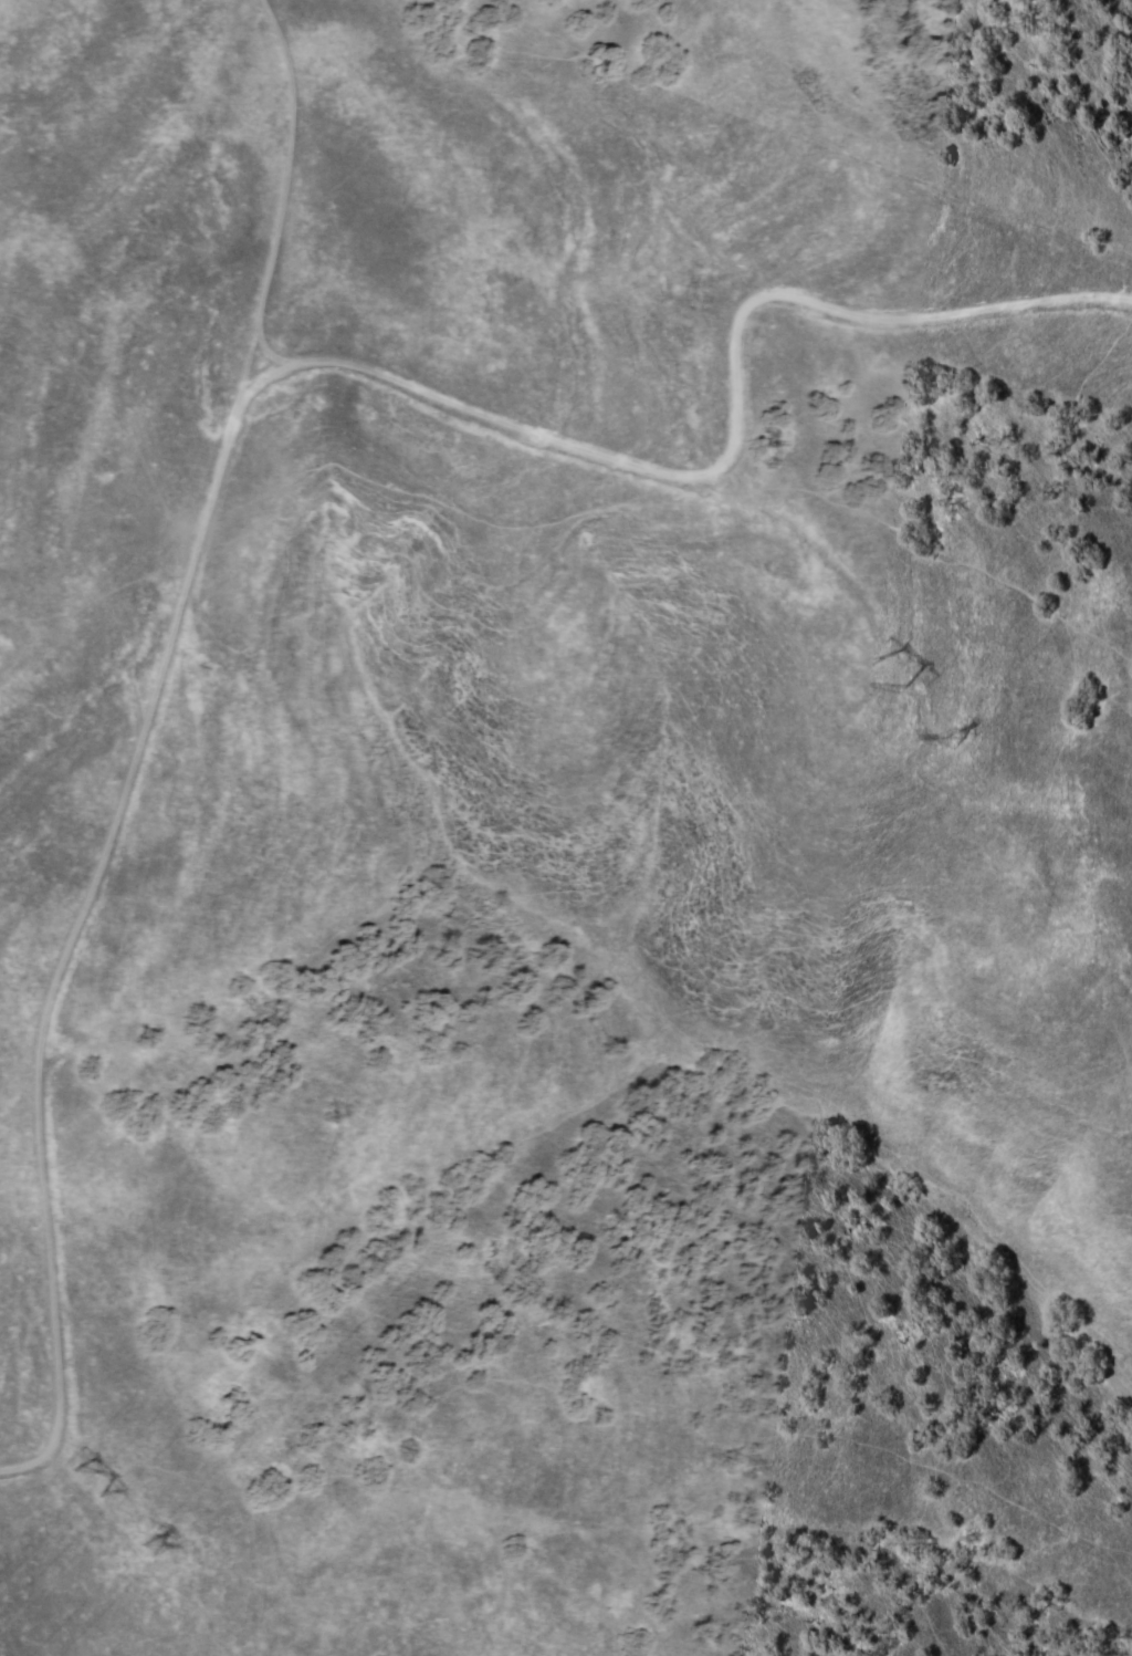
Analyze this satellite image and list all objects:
road: (283, 206)
road: (229, 433)
power tower: (895, 674)
power tower: (951, 744)
power tower: (101, 1489)
power tower: (156, 1548)

